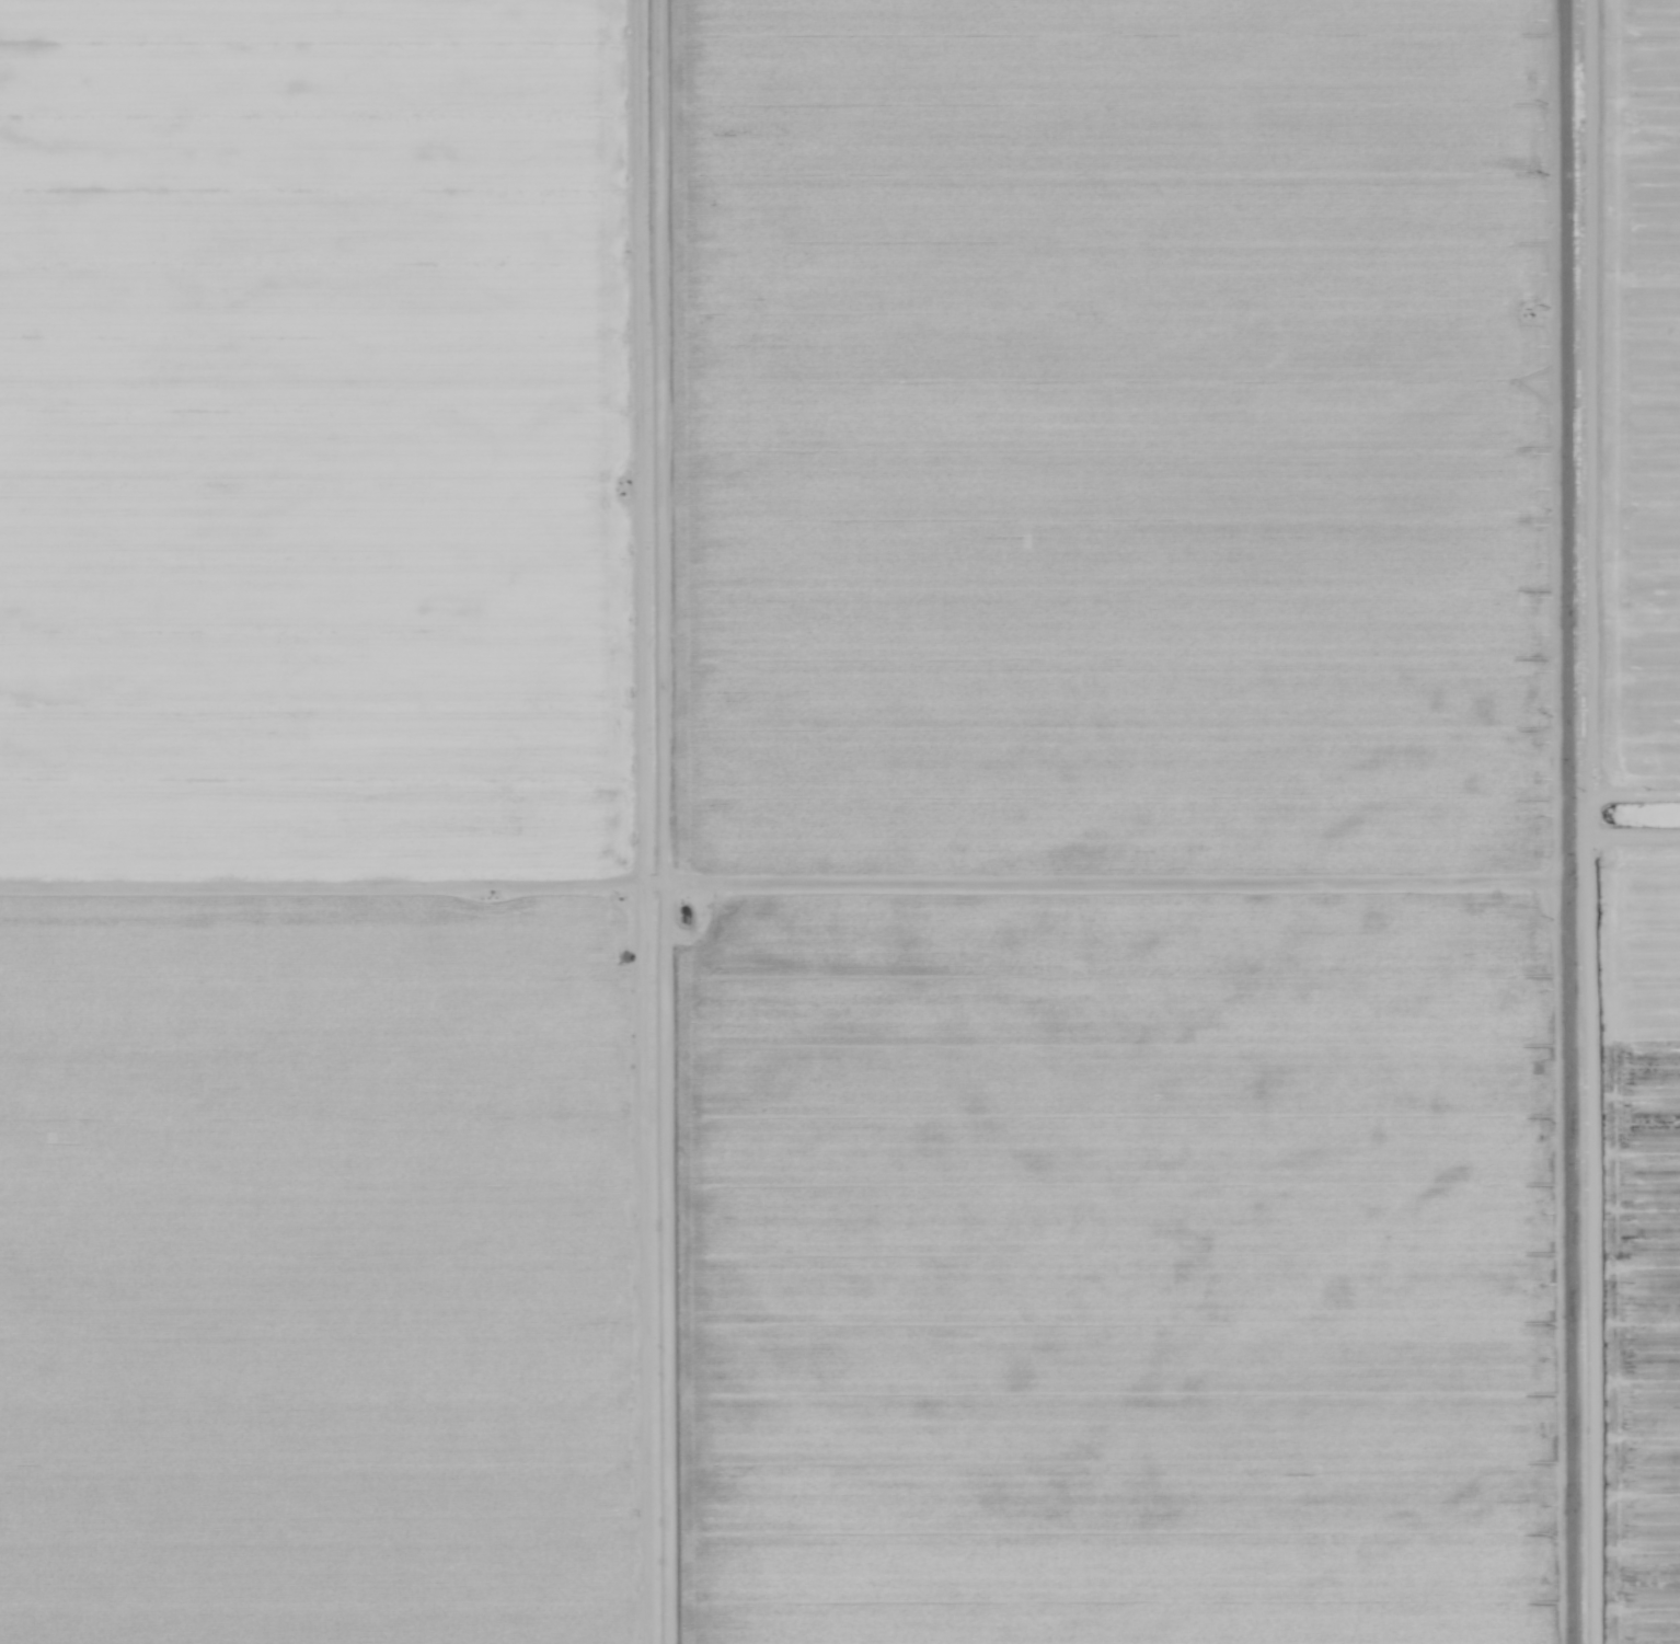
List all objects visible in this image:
crop: (840, 821)
road: (1570, 821)

